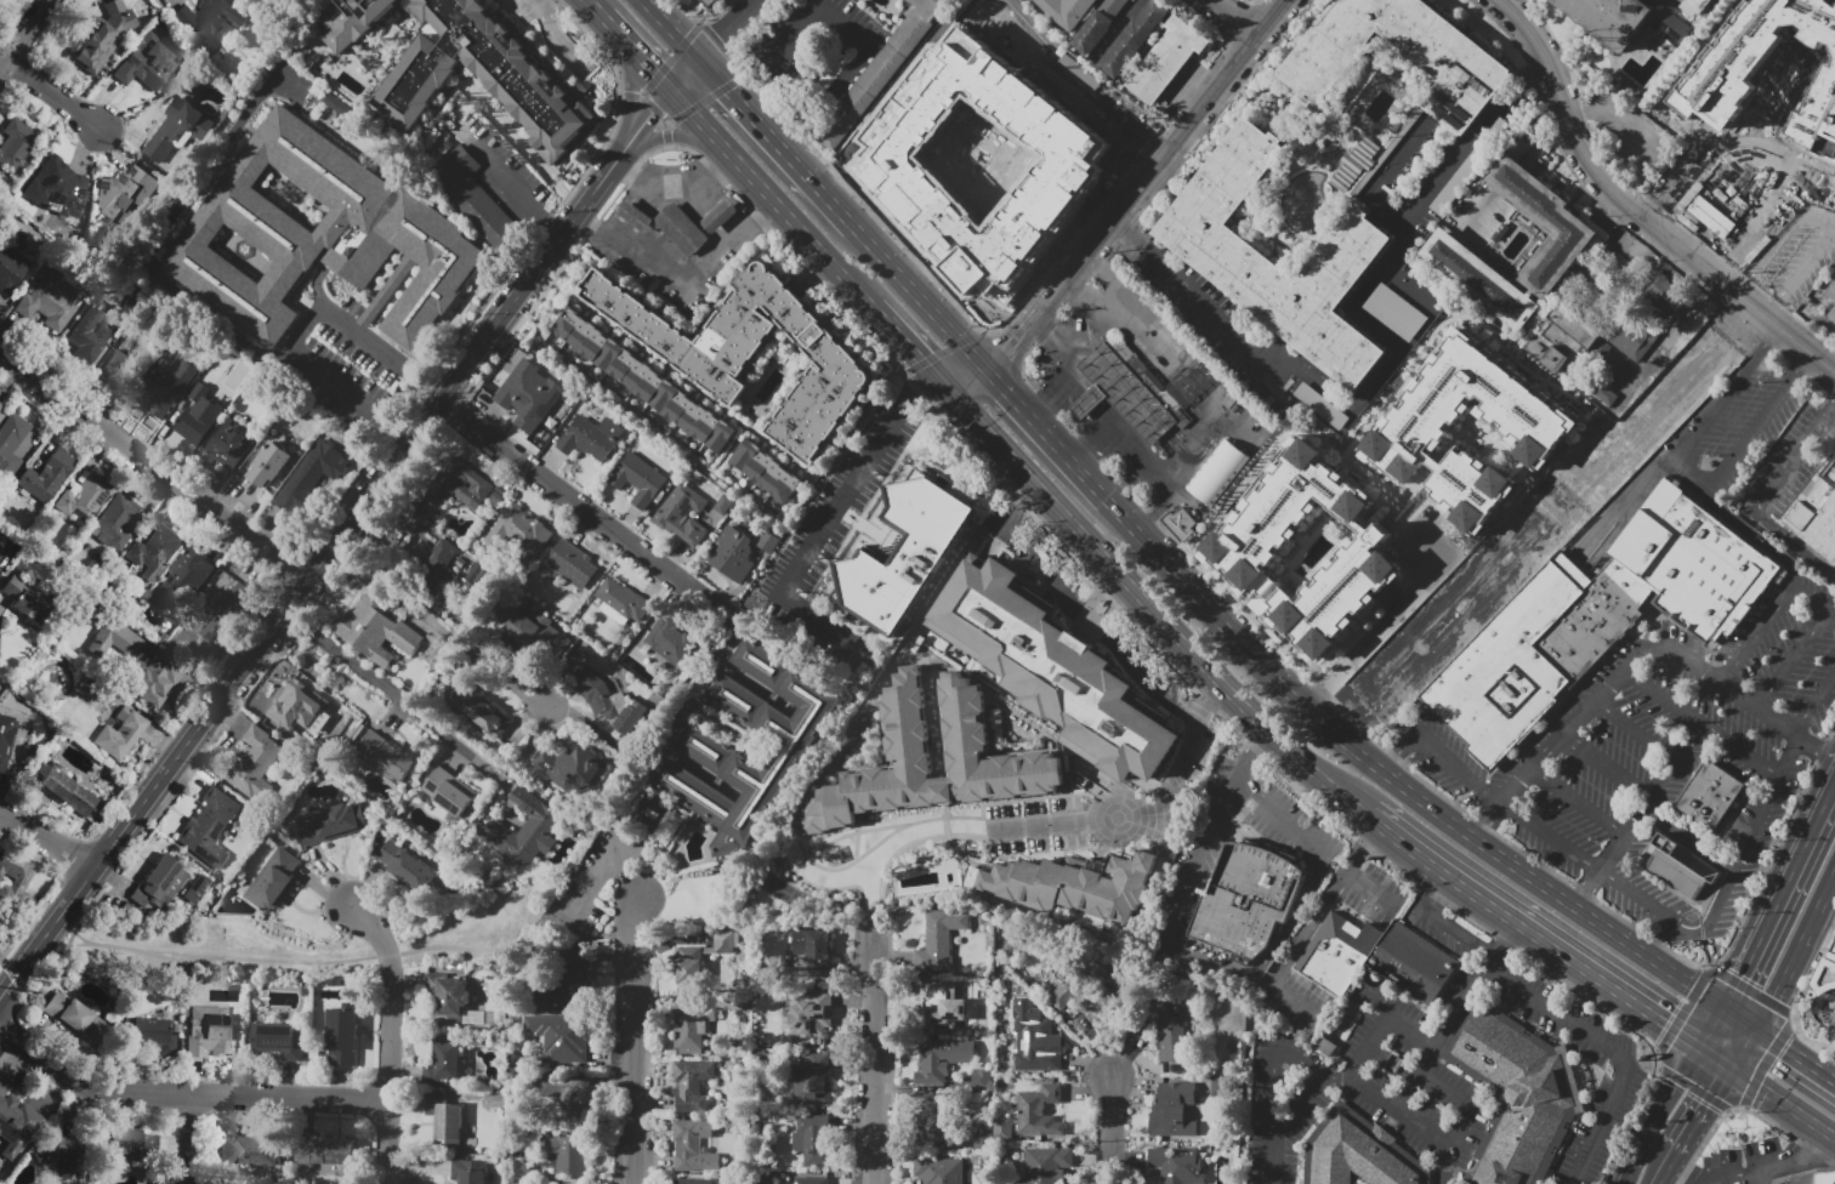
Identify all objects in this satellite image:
building: (711, 1)
road: (816, 1)
road: (541, 2)
building: (1697, 5)
road: (592, 8)
road: (1132, 8)
building: (1067, 11)
road: (1234, 17)
building: (1607, 18)
building: (353, 22)
building: (210, 23)
road: (842, 23)
building: (1670, 25)
building: (1101, 27)
road: (612, 28)
road: (674, 29)
road: (727, 29)
road: (795, 32)
road: (27, 34)
building: (104, 36)
road: (555, 38)
traffic signals: (720, 38)
building: (1135, 41)
building: (1444, 52)
building: (1748, 53)
building: (1166, 62)
building: (147, 66)
road: (646, 66)
traffic signals: (653, 73)
building: (881, 73)
road: (1543, 73)
building: (483, 75)
road: (833, 87)
traffic signals: (728, 90)
road: (631, 93)
road: (52, 95)
road: (659, 102)
traffic signals: (649, 113)
building: (1818, 118)
building: (1500, 127)
building: (178, 129)
parking lot: (1626, 133)
road: (670, 136)
road: (1725, 140)
road: (791, 141)
road: (777, 142)
road: (1174, 142)
building: (16, 146)
building: (973, 159)
building: (1354, 164)
road: (1675, 166)
parking lot: (1431, 169)
road: (1382, 175)
road: (507, 178)
building: (1460, 180)
road: (755, 181)
road: (671, 186)
road: (1436, 186)
building: (57, 187)
building: (472, 197)
building: (125, 198)
road: (761, 209)
road: (1635, 212)
parking lot: (1476, 215)
building: (636, 217)
gas station: (636, 217)
building: (721, 217)
gas station: (721, 217)
building: (1715, 218)
road: (1820, 220)
road: (589, 221)
building: (1543, 222)
road: (1119, 227)
road: (1833, 227)
building: (682, 230)
building: (319, 235)
road: (720, 252)
parking lot: (1795, 256)
road: (644, 257)
building: (1226, 260)
building: (11, 268)
road: (808, 273)
building: (1481, 279)
road: (853, 291)
road: (1407, 292)
road: (1100, 294)
road: (921, 297)
building: (51, 300)
building: (1394, 312)
building: (1833, 314)
road: (1374, 328)
road: (1027, 330)
road: (303, 331)
road: (1232, 331)
road: (1674, 334)
building: (1631, 337)
parking lot: (1243, 338)
building: (1561, 341)
building: (95, 345)
road: (907, 345)
traffic signals: (1012, 349)
building: (751, 353)
traffic signals: (920, 359)
road: (1168, 359)
road: (965, 376)
road: (1375, 380)
building: (500, 381)
building: (643, 385)
road: (931, 388)
building: (166, 391)
traffic signals: (1007, 391)
building: (527, 394)
traffic signals: (916, 394)
building: (1123, 394)
road: (1046, 397)
building: (1, 405)
road: (1829, 405)
building: (199, 419)
road: (1034, 420)
road: (1240, 426)
parking lot: (1738, 427)
road: (1109, 429)
building: (1414, 433)
building: (591, 437)
building: (11, 443)
road: (1089, 444)
building: (229, 448)
road: (153, 463)
building: (267, 463)
parking lot: (1788, 465)
building: (1217, 471)
building: (316, 472)
building: (766, 474)
building: (47, 476)
building: (638, 479)
road: (1698, 480)
building: (458, 485)
road: (1095, 485)
road: (1544, 493)
road: (1634, 493)
building: (83, 500)
road: (1018, 502)
road: (573, 503)
road: (1553, 503)
road: (1589, 503)
road: (1759, 503)
road: (1160, 506)
building: (691, 514)
building: (1817, 517)
park: (1543, 518)
building: (114, 522)
building: (1180, 522)
building: (519, 530)
road: (1754, 537)
road: (820, 539)
building: (2, 540)
building: (765, 541)
building: (1250, 542)
building: (154, 551)
building: (735, 552)
building: (905, 556)
road: (1070, 558)
building: (569, 562)
building: (436, 567)
road: (311, 570)
building: (477, 575)
building: (182, 582)
building: (27, 598)
building: (623, 599)
road: (1813, 600)
road: (1147, 608)
building: (226, 613)
building: (1593, 619)
road: (1384, 620)
road: (437, 624)
road: (922, 627)
road: (1097, 627)
building: (375, 632)
road: (1754, 633)
building: (532, 636)
building: (672, 641)
road: (1631, 660)
road: (1794, 662)
building: (144, 665)
building: (1053, 672)
road: (391, 693)
building: (604, 699)
building: (280, 700)
road: (1208, 700)
building: (476, 708)
road: (1817, 710)
road: (1345, 718)
building: (10, 722)
road: (1199, 722)
road: (1700, 723)
road: (1635, 730)
road: (669, 732)
building: (121, 733)
road: (1817, 748)
building: (907, 750)
building: (709, 751)
building: (381, 752)
road: (1248, 753)
road: (1437, 753)
road: (1788, 758)
parking lot: (1664, 759)
building: (255, 764)
building: (574, 765)
road: (1607, 767)
road: (1394, 778)
building: (67, 792)
building: (450, 793)
building: (1711, 795)
road: (1651, 797)
road: (1578, 803)
building: (653, 812)
road: (977, 818)
road: (1120, 818)
road: (947, 819)
road: (1485, 822)
building: (330, 824)
building: (209, 826)
parking lot: (1035, 827)
building: (524, 830)
road: (864, 831)
road: (857, 836)
road: (1550, 836)
road: (46, 837)
road: (968, 837)
road: (1689, 838)
road: (1408, 846)
road: (902, 852)
road: (784, 858)
road: (1197, 859)
road: (850, 865)
building: (417, 866)
building: (1682, 867)
building: (17, 869)
road: (619, 876)
road: (587, 878)
building: (273, 881)
building: (159, 884)
building: (1075, 884)
building: (195, 888)
road: (1370, 888)
road: (1780, 888)
road: (834, 889)
road: (1587, 889)
park: (783, 890)
road: (1437, 894)
road: (1482, 898)
building: (1248, 900)
road: (1324, 906)
road: (1716, 909)
road: (1296, 913)
road: (1458, 935)
building: (942, 938)
road: (1499, 944)
building: (813, 949)
road: (1796, 950)
building: (1337, 955)
parking lot: (1453, 955)
road: (337, 960)
building: (699, 960)
road: (1, 962)
building: (1414, 963)
building: (1825, 972)
traffic signals: (1740, 975)
road: (13, 977)
building: (568, 981)
road: (1607, 984)
building: (1075, 995)
building: (453, 997)
building: (932, 1003)
road: (1290, 1003)
building: (812, 1014)
road: (1742, 1015)
building: (75, 1019)
road: (1385, 1025)
road: (1712, 1025)
traffic signals: (1670, 1026)
building: (691, 1030)
road: (1831, 1030)
building: (149, 1031)
building: (209, 1031)
building: (1170, 1035)
building: (342, 1036)
building: (561, 1037)
building: (278, 1038)
road: (387, 1040)
road: (631, 1040)
building: (1035, 1040)
building: (1833, 1042)
traffic signals: (1784, 1044)
road: (1745, 1047)
road: (1609, 1049)
road: (1796, 1052)
road: (880, 1054)
road: (1716, 1058)
building: (942, 1060)
road: (1426, 1063)
building: (444, 1065)
road: (1274, 1066)
building: (811, 1078)
building: (982, 1081)
building: (692, 1085)
road: (183, 1092)
building: (568, 1093)
road: (1311, 1094)
building: (1513, 1095)
road: (1783, 1100)
road: (1461, 1104)
traffic signals: (1710, 1104)
building: (1175, 1110)
road: (1705, 1110)
road: (1744, 1110)
building: (1039, 1111)
road: (1664, 1115)
building: (445, 1120)
building: (931, 1120)
building: (13, 1121)
road: (1109, 1122)
building: (1002, 1127)
building: (983, 1134)
road: (1834, 1134)
road: (187, 1138)
building: (814, 1140)
road: (1825, 1144)
building: (131, 1145)
building: (693, 1146)
building: (246, 1151)
building: (329, 1152)
building: (1356, 1152)
building: (567, 1154)
building: (67, 1157)
road: (1445, 1162)
road: (1789, 1163)
building: (1044, 1165)
building: (1175, 1165)
road: (1669, 1167)
building: (939, 1171)
building: (468, 1172)
road: (1734, 1178)
road: (1761, 1178)
building: (1817, 1178)
building: (813, 1180)
building: (694, 1182)

